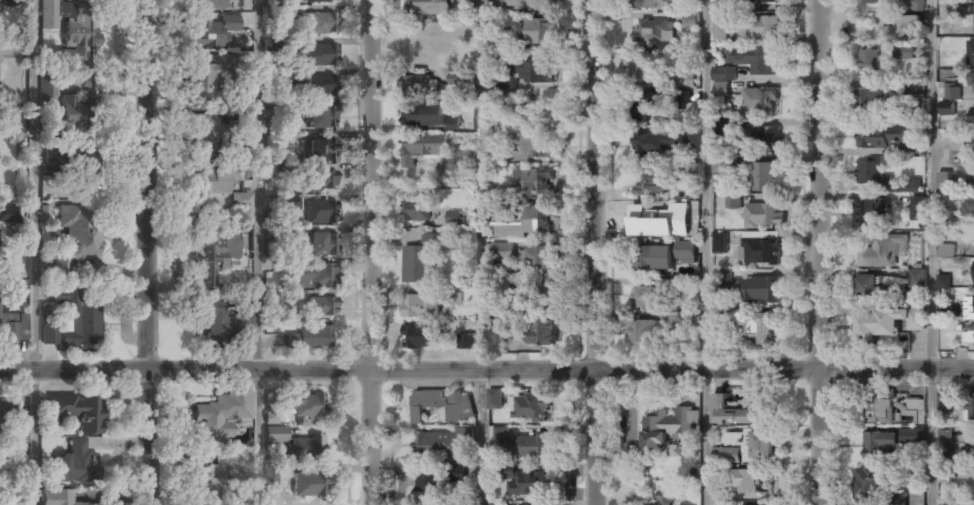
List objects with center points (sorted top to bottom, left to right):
building: (763, 0)
building: (321, 1)
building: (875, 1)
building: (973, 1)
building: (7, 3)
building: (208, 4)
building: (520, 4)
building: (654, 4)
building: (912, 6)
building: (429, 7)
building: (280, 13)
building: (48, 14)
building: (691, 19)
building: (242, 21)
building: (321, 24)
building: (911, 24)
building: (766, 26)
building: (653, 30)
building: (540, 31)
building: (718, 31)
building: (209, 33)
building: (888, 34)
building: (79, 38)
building: (270, 45)
building: (902, 52)
building: (316, 54)
building: (973, 54)
building: (756, 59)
building: (869, 61)
building: (643, 68)
building: (532, 69)
building: (204, 73)
building: (723, 75)
building: (456, 77)
building: (684, 78)
building: (509, 81)
building: (950, 82)
building: (971, 83)
building: (417, 84)
building: (315, 85)
building: (46, 91)
building: (683, 99)
building: (871, 99)
building: (760, 101)
building: (948, 101)
building: (647, 108)
building: (73, 109)
building: (284, 113)
building: (421, 114)
building: (320, 118)
building: (973, 118)
building: (452, 122)
building: (18, 123)
building: (204, 132)
building: (693, 135)
building: (762, 137)
building: (881, 137)
building: (275, 141)
building: (656, 141)
building: (534, 143)
building: (422, 147)
building: (320, 151)
building: (500, 156)
building: (456, 163)
building: (78, 164)
building: (724, 164)
building: (692, 174)
building: (973, 174)
building: (874, 176)
building: (768, 177)
building: (535, 179)
building: (322, 180)
building: (943, 180)
building: (653, 182)
road: (34, 185)
building: (212, 190)
building: (734, 201)
building: (243, 203)
building: (285, 203)
building: (972, 205)
building: (918, 207)
building: (414, 209)
building: (320, 212)
building: (869, 213)
building: (8, 214)
building: (764, 215)
building: (454, 218)
building: (644, 218)
building: (530, 222)
building: (678, 230)
building: (719, 242)
building: (76, 245)
building: (321, 245)
building: (883, 249)
building: (945, 249)
building: (502, 251)
building: (760, 251)
road: (148, 252)
road: (260, 252)
road: (372, 252)
road: (483, 252)
road: (597, 252)
road: (707, 252)
road: (820, 252)
road: (929, 252)
building: (663, 255)
building: (210, 257)
building: (418, 263)
building: (544, 267)
building: (317, 277)
building: (918, 278)
building: (723, 279)
building: (944, 281)
building: (873, 285)
building: (762, 289)
building: (453, 297)
building: (647, 298)
building: (973, 303)
building: (421, 306)
building: (322, 308)
building: (944, 311)
building: (79, 317)
building: (244, 320)
building: (212, 321)
building: (888, 322)
building: (754, 324)
building: (13, 327)
building: (545, 331)
building: (644, 331)
building: (48, 333)
building: (969, 335)
building: (419, 337)
building: (308, 340)
building: (468, 343)
road: (487, 369)
building: (495, 398)
building: (944, 403)
building: (304, 405)
building: (443, 405)
building: (532, 408)
building: (971, 408)
building: (735, 411)
building: (6, 412)
building: (77, 412)
building: (220, 415)
building: (270, 418)
building: (891, 427)
building: (668, 430)
building: (20, 432)
building: (275, 434)
building: (945, 436)
road: (33, 437)
building: (754, 443)
building: (436, 445)
building: (530, 446)
building: (305, 448)
building: (968, 451)
building: (728, 454)
building: (74, 464)
building: (456, 472)
building: (271, 474)
building: (871, 480)
building: (751, 481)
building: (524, 482)
building: (311, 484)
building: (207, 485)
building: (431, 487)
building: (6, 492)
building: (665, 497)
building: (56, 498)
building: (437, 504)
building: (497, 504)

